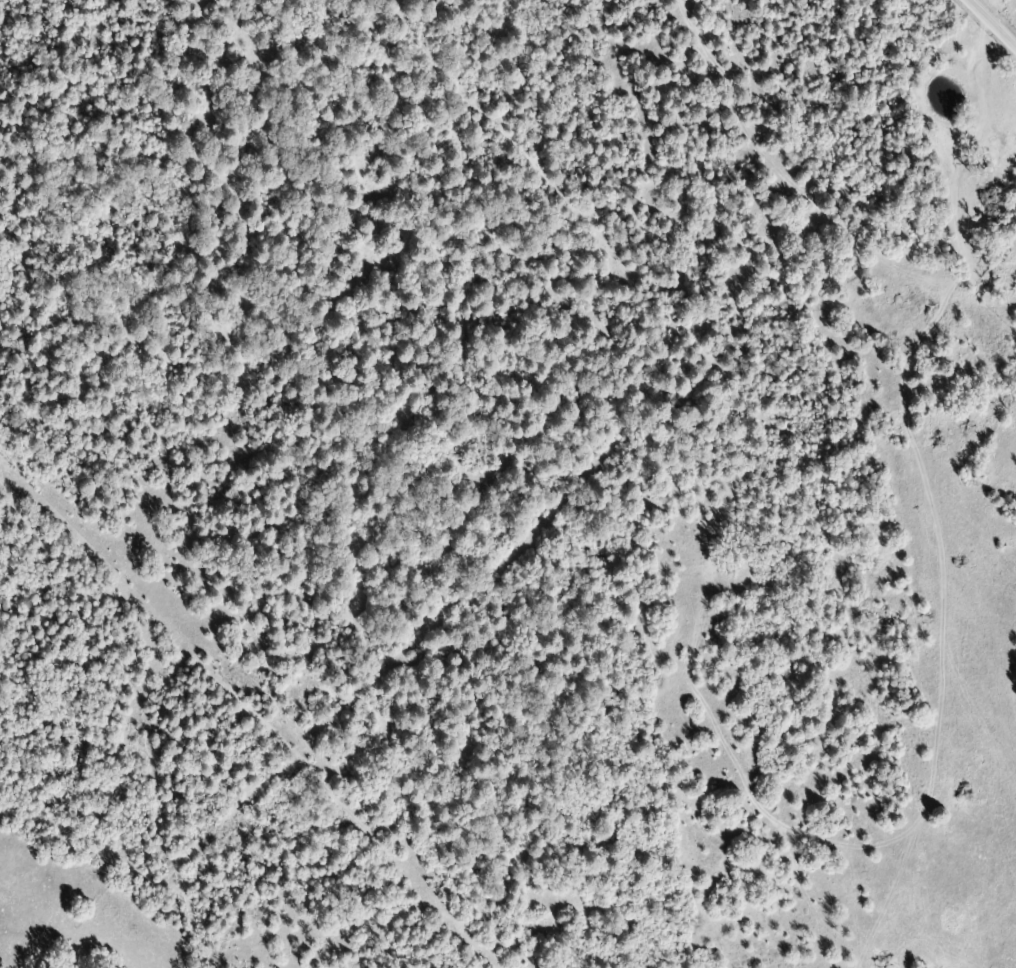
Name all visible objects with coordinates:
road: (996, 19)

